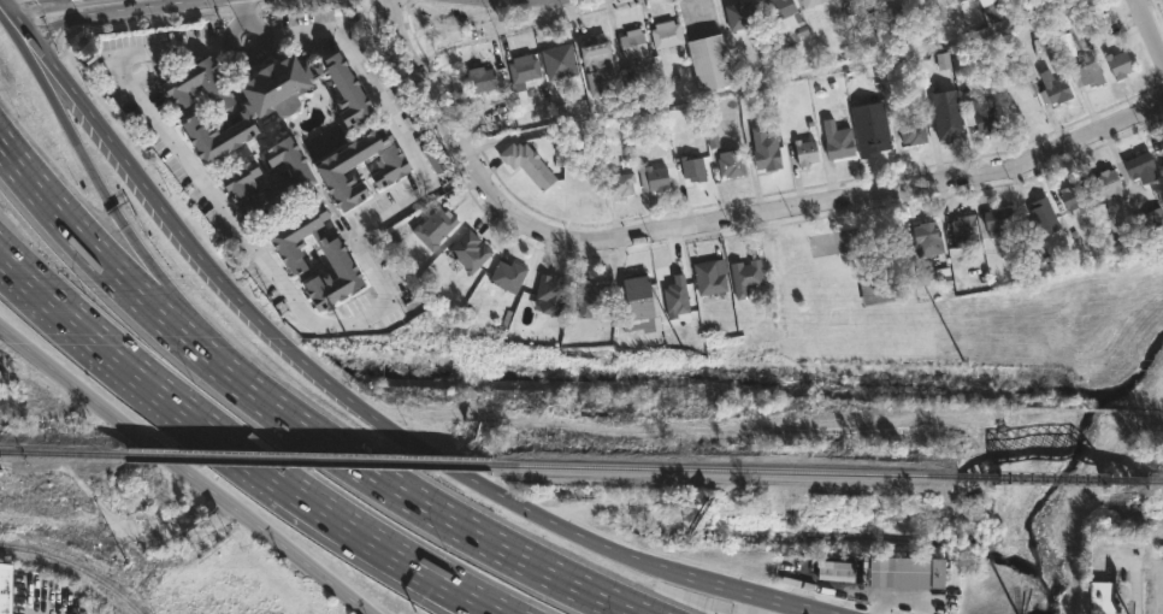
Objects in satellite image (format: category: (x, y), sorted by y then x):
road: (136, 1)
road: (144, 1)
building: (811, 2)
road: (58, 5)
building: (862, 5)
road: (99, 6)
road: (14, 7)
road: (40, 12)
road: (243, 14)
building: (739, 16)
building: (784, 23)
road: (1150, 29)
road: (253, 31)
building: (666, 34)
building: (634, 46)
building: (559, 61)
building: (709, 63)
building: (786, 64)
building: (1118, 64)
building: (598, 65)
building: (524, 69)
building: (1087, 73)
building: (480, 81)
road: (764, 81)
building: (1056, 93)
building: (256, 100)
building: (981, 114)
building: (947, 122)
building: (878, 128)
building: (913, 134)
building: (837, 141)
building: (764, 149)
building: (805, 153)
building: (437, 160)
building: (727, 163)
building: (529, 164)
building: (1143, 167)
building: (331, 169)
building: (693, 169)
building: (653, 178)
building: (235, 181)
building: (585, 182)
building: (622, 183)
building: (1106, 187)
building: (1075, 195)
building: (1152, 216)
road: (719, 223)
building: (999, 223)
building: (1041, 223)
building: (435, 228)
building: (964, 230)
building: (927, 240)
building: (468, 250)
building: (337, 262)
road: (167, 267)
building: (508, 276)
building: (712, 277)
building: (878, 290)
building: (550, 295)
road: (147, 297)
building: (595, 299)
building: (638, 302)
road: (347, 326)
road: (301, 362)
road: (171, 401)
railway: (66, 453)
road: (171, 455)
railway: (319, 460)
railway: (733, 470)
railway: (1055, 477)
railway: (1155, 480)
road: (471, 531)
road: (1132, 562)
railway: (77, 566)
building: (908, 569)
road: (433, 572)
road: (407, 573)
building: (5, 588)
road: (1135, 589)
road: (764, 595)
road: (901, 597)
building: (1103, 597)
road: (356, 603)

